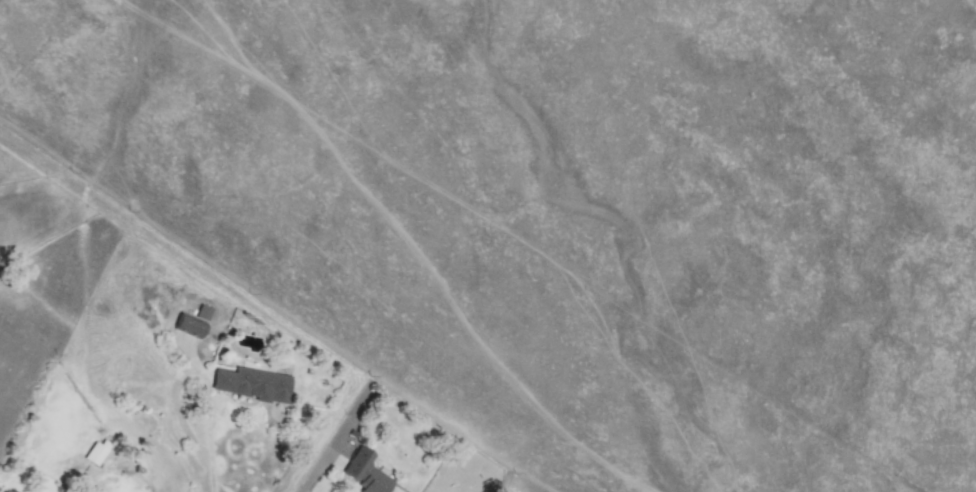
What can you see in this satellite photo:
building: (202, 312)
building: (187, 327)
building: (252, 384)
road: (209, 444)
road: (316, 470)
building: (364, 473)

